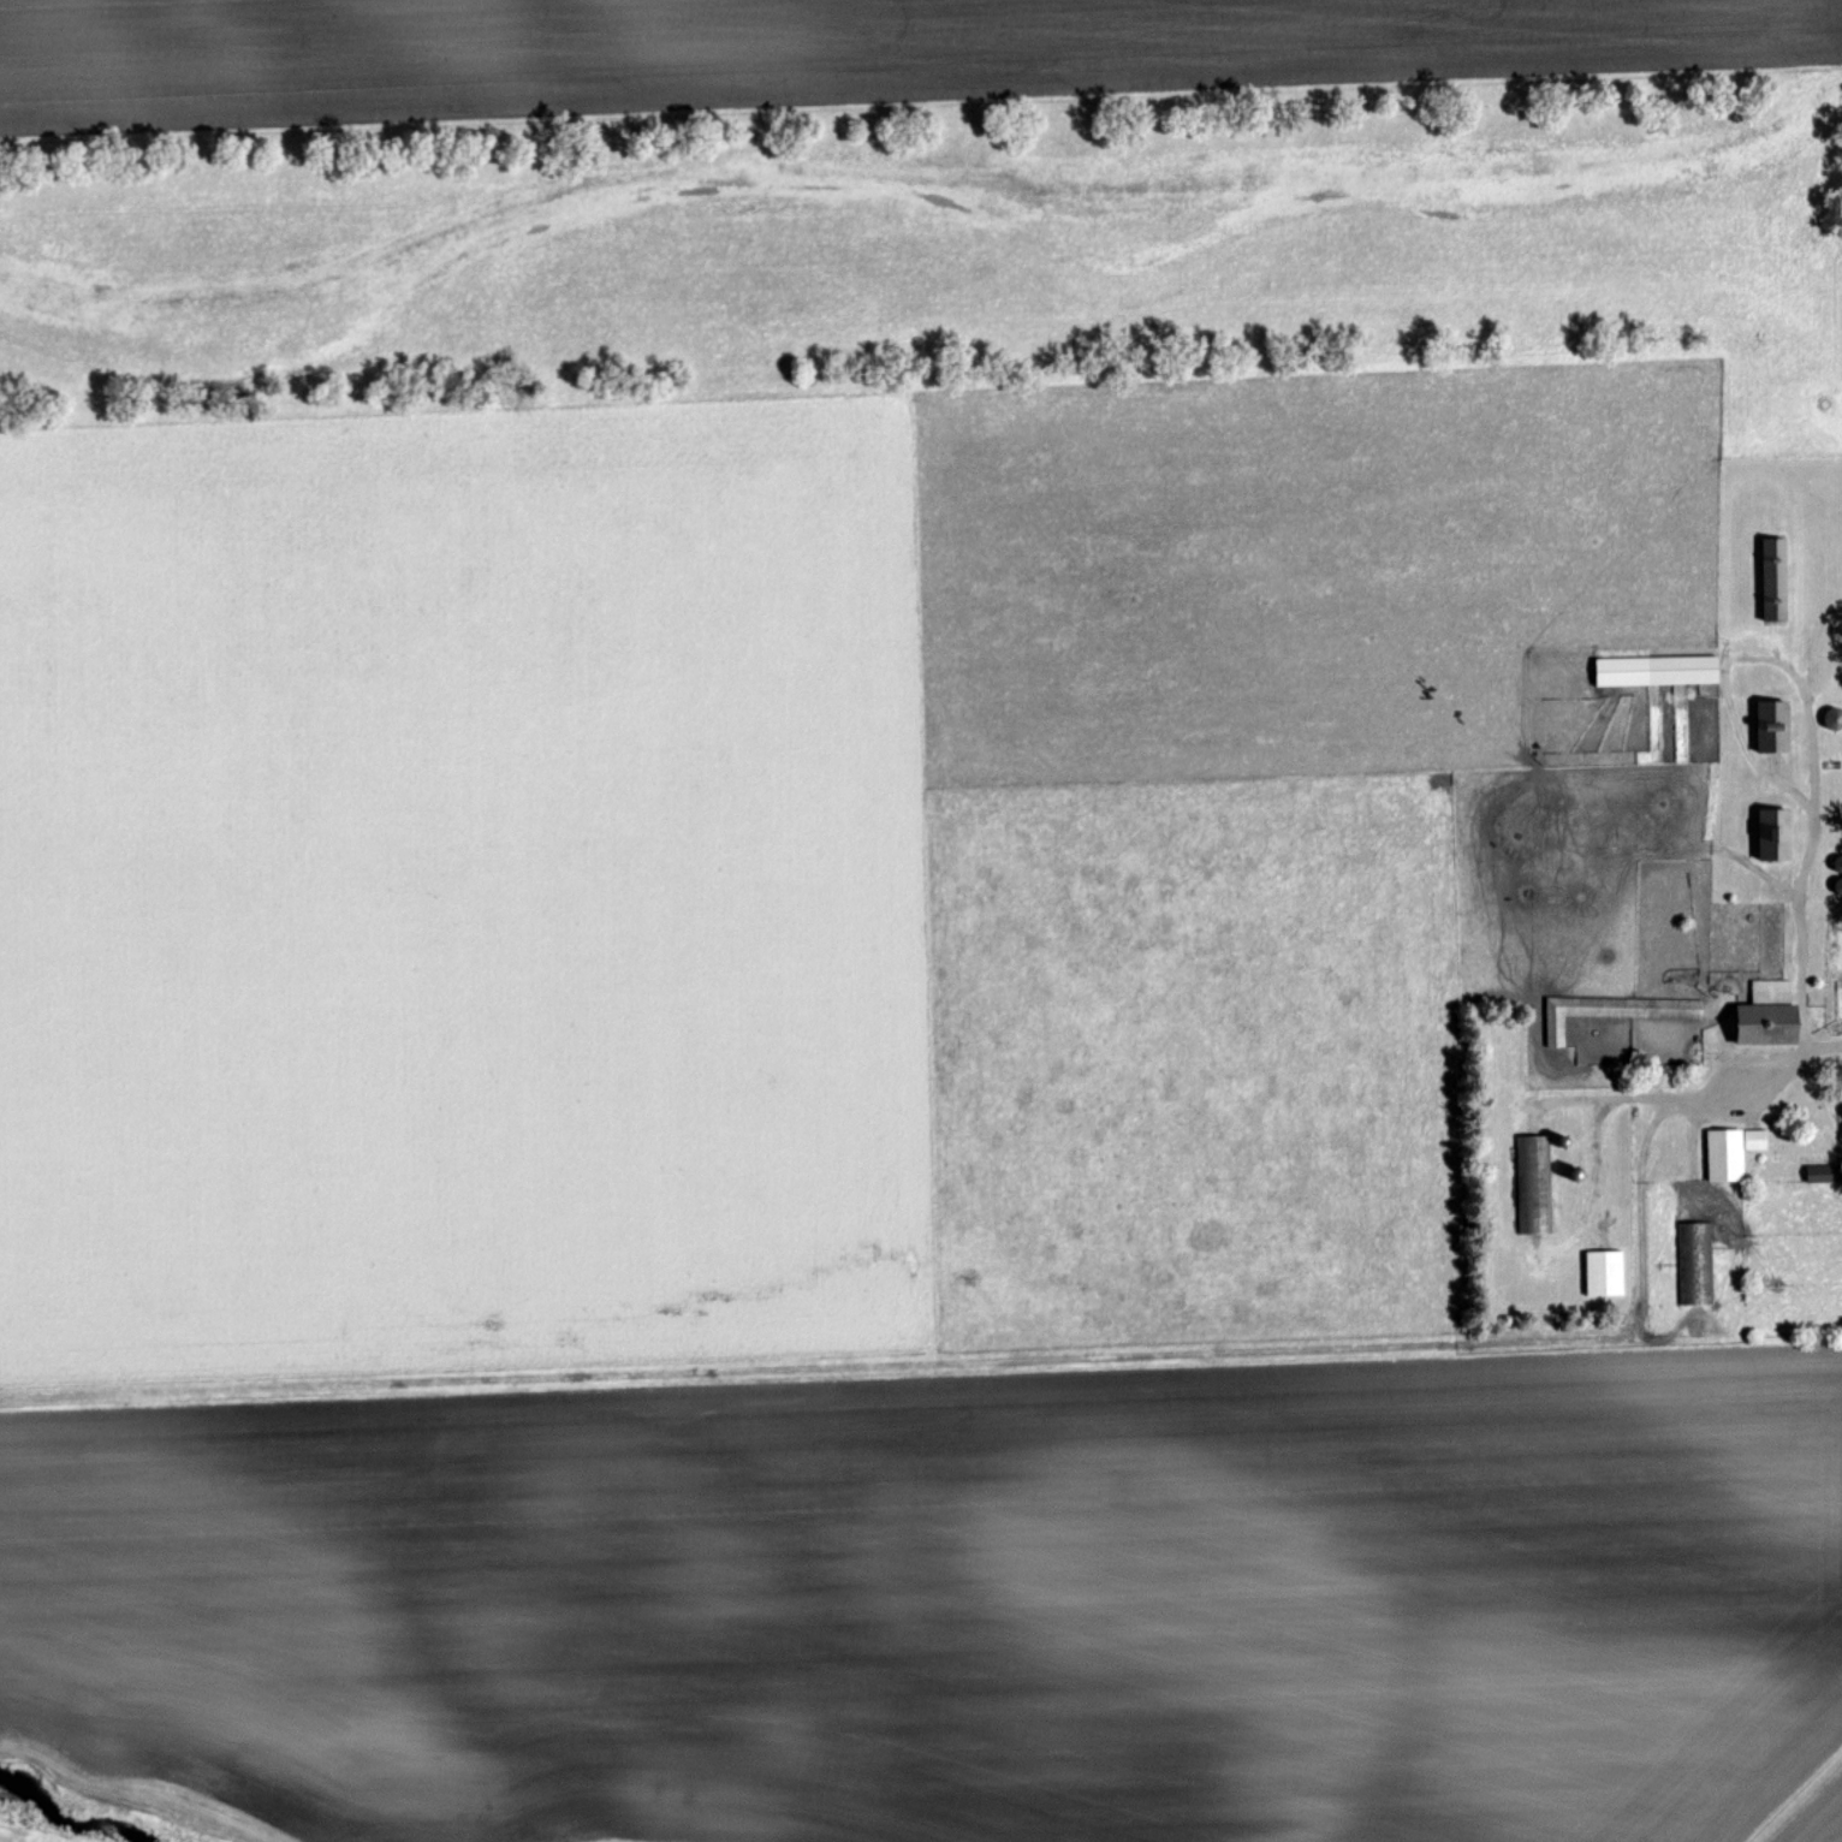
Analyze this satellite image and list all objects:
road: (1739, 658)
building: (1775, 727)
building: (1777, 836)
road: (1802, 941)
building: (1770, 1016)
building: (1733, 1153)
building: (1824, 1173)
building: (1697, 1265)
building: (1605, 1274)

